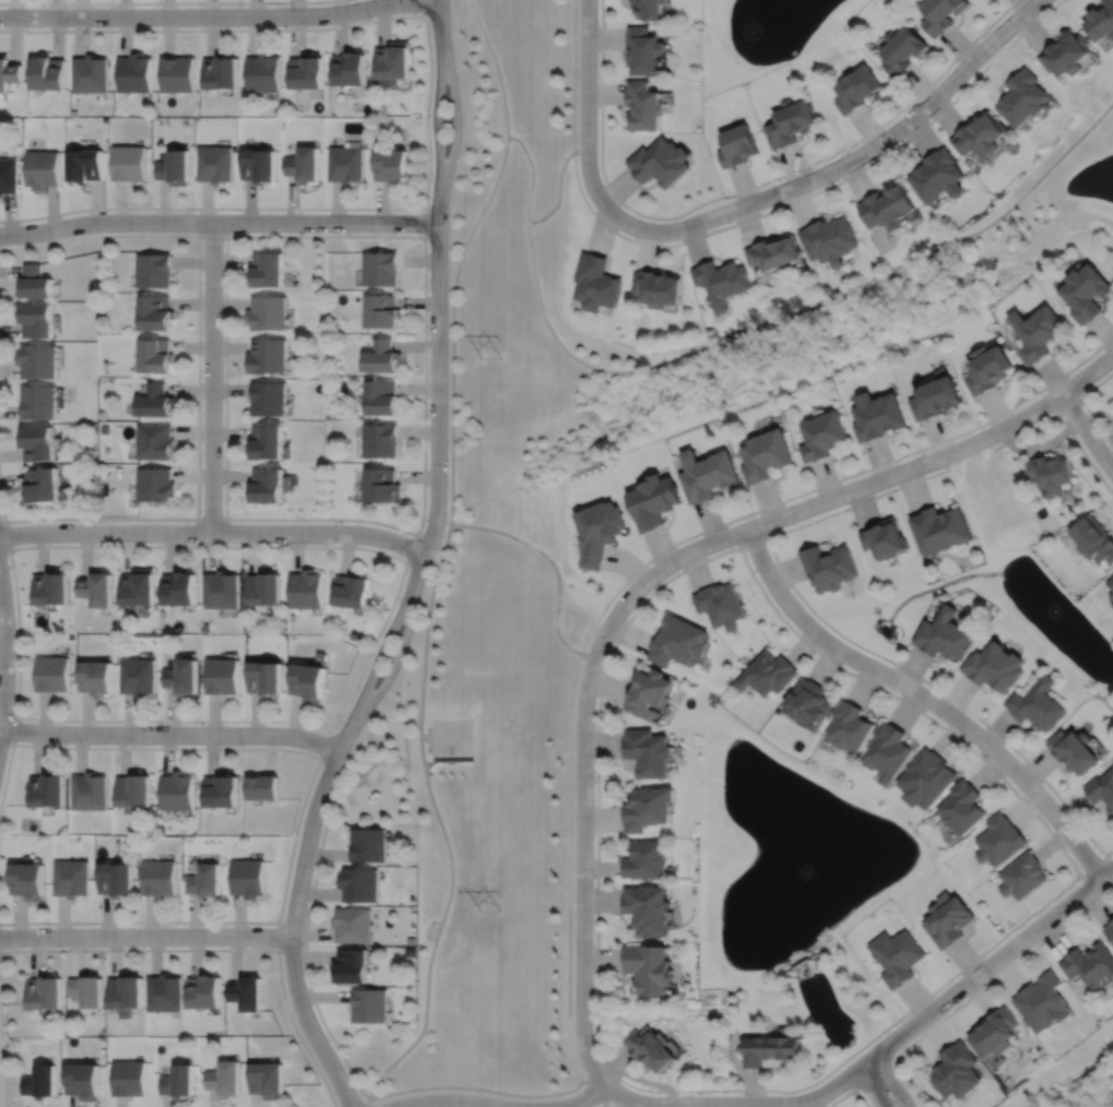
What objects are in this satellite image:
road: (166, 2)
road: (419, 8)
building: (648, 9)
road: (440, 13)
building: (940, 14)
road: (221, 16)
building: (1100, 23)
fountain: (756, 25)
building: (642, 50)
building: (901, 50)
building: (1065, 55)
building: (393, 62)
road: (496, 66)
building: (348, 70)
building: (220, 73)
building: (262, 73)
building: (305, 73)
building: (9, 74)
building: (46, 74)
building: (88, 74)
building: (133, 74)
road: (573, 74)
building: (176, 75)
building: (856, 91)
building: (1021, 99)
building: (643, 107)
road: (587, 111)
road: (426, 114)
building: (790, 123)
road: (436, 124)
road: (458, 124)
building: (978, 136)
building: (736, 146)
road: (848, 160)
building: (660, 164)
building: (129, 165)
building: (215, 165)
building: (345, 165)
building: (258, 166)
building: (304, 166)
building: (85, 167)
building: (391, 168)
building: (174, 169)
building: (42, 170)
road: (533, 172)
building: (938, 174)
building: (8, 177)
road: (743, 190)
road: (818, 190)
road: (558, 192)
building: (888, 204)
road: (218, 222)
road: (425, 222)
road: (212, 236)
building: (829, 237)
building: (773, 251)
building: (380, 267)
building: (153, 270)
building: (268, 272)
building: (721, 278)
building: (35, 281)
building: (595, 282)
building: (656, 286)
building: (1086, 290)
park: (842, 308)
building: (381, 309)
road: (797, 310)
building: (156, 311)
building: (269, 311)
building: (38, 319)
road: (452, 324)
building: (1038, 330)
building: (156, 354)
building: (268, 355)
building: (382, 356)
power tower: (490, 357)
building: (38, 360)
building: (990, 367)
road: (212, 377)
road: (198, 388)
building: (381, 395)
building: (935, 395)
building: (269, 397)
building: (156, 400)
building: (39, 401)
road: (437, 402)
road: (1067, 403)
road: (1085, 403)
road: (1068, 404)
building: (877, 414)
building: (822, 435)
building: (379, 439)
building: (267, 440)
building: (155, 441)
building: (40, 442)
building: (765, 454)
building: (1052, 472)
building: (706, 473)
road: (834, 480)
building: (155, 484)
building: (268, 484)
building: (43, 485)
building: (381, 485)
road: (825, 499)
building: (653, 500)
road: (211, 519)
road: (421, 524)
building: (940, 528)
building: (600, 531)
road: (214, 532)
road: (5, 535)
building: (884, 537)
road: (756, 538)
building: (1094, 538)
road: (412, 547)
building: (829, 566)
road: (781, 568)
building: (1111, 582)
building: (52, 587)
building: (139, 587)
building: (98, 588)
building: (178, 588)
building: (263, 588)
building: (220, 590)
building: (305, 590)
building: (352, 591)
building: (1112, 595)
building: (720, 605)
fountain: (1054, 614)
road: (427, 617)
park: (492, 620)
building: (945, 634)
building: (679, 641)
road: (7, 652)
road: (374, 663)
building: (996, 667)
road: (391, 670)
building: (768, 674)
building: (54, 675)
building: (140, 677)
building: (182, 677)
building: (222, 677)
building: (97, 678)
building: (264, 678)
building: (308, 681)
road: (355, 686)
building: (651, 694)
road: (926, 697)
road: (904, 701)
building: (808, 703)
building: (1040, 705)
building: (850, 727)
road: (13, 728)
road: (429, 731)
road: (170, 734)
park: (451, 736)
road: (429, 739)
building: (1076, 750)
building: (889, 752)
building: (650, 753)
road: (392, 766)
building: (927, 778)
building: (261, 788)
building: (1102, 789)
building: (48, 790)
building: (91, 791)
building: (176, 791)
building: (220, 791)
road: (306, 791)
building: (132, 793)
building: (649, 809)
building: (964, 809)
building: (1000, 841)
building: (369, 846)
road: (583, 856)
building: (649, 861)
road: (1097, 864)
fountain: (806, 870)
road: (568, 872)
building: (1023, 877)
building: (72, 879)
building: (158, 879)
building: (247, 879)
building: (117, 880)
building: (29, 881)
building: (204, 882)
building: (359, 885)
building: (412, 897)
power tower: (490, 908)
building: (649, 908)
building: (948, 918)
building: (352, 925)
building: (1109, 927)
road: (292, 932)
road: (145, 936)
road: (279, 936)
building: (411, 940)
road: (224, 949)
building: (410, 951)
building: (897, 954)
dam: (801, 962)
building: (1089, 962)
building: (352, 963)
road: (988, 964)
building: (650, 966)
building: (87, 988)
road: (981, 988)
building: (45, 990)
building: (203, 990)
building: (246, 990)
building: (126, 991)
building: (164, 991)
building: (1044, 1000)
building: (369, 1003)
building: (996, 1029)
building: (652, 1045)
building: (772, 1047)
road: (0, 1054)
building: (957, 1069)
road: (873, 1072)
building: (130, 1076)
building: (224, 1076)
building: (84, 1078)
building: (267, 1078)
building: (42, 1080)
building: (177, 1080)
road: (891, 1080)
road: (871, 1086)
road: (594, 1090)
road: (850, 1091)
road: (368, 1096)
road: (448, 1102)
road: (359, 1104)
road: (713, 1104)
road: (608, 1106)

